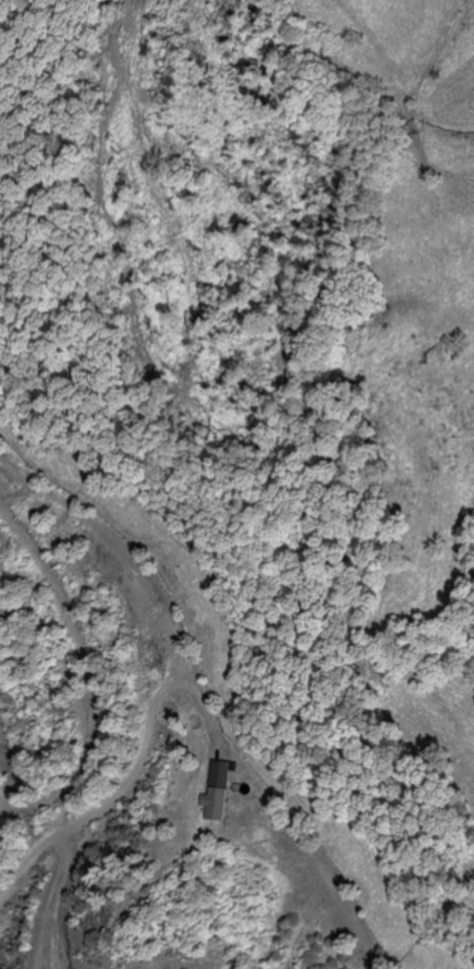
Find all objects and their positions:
building: (219, 793)

